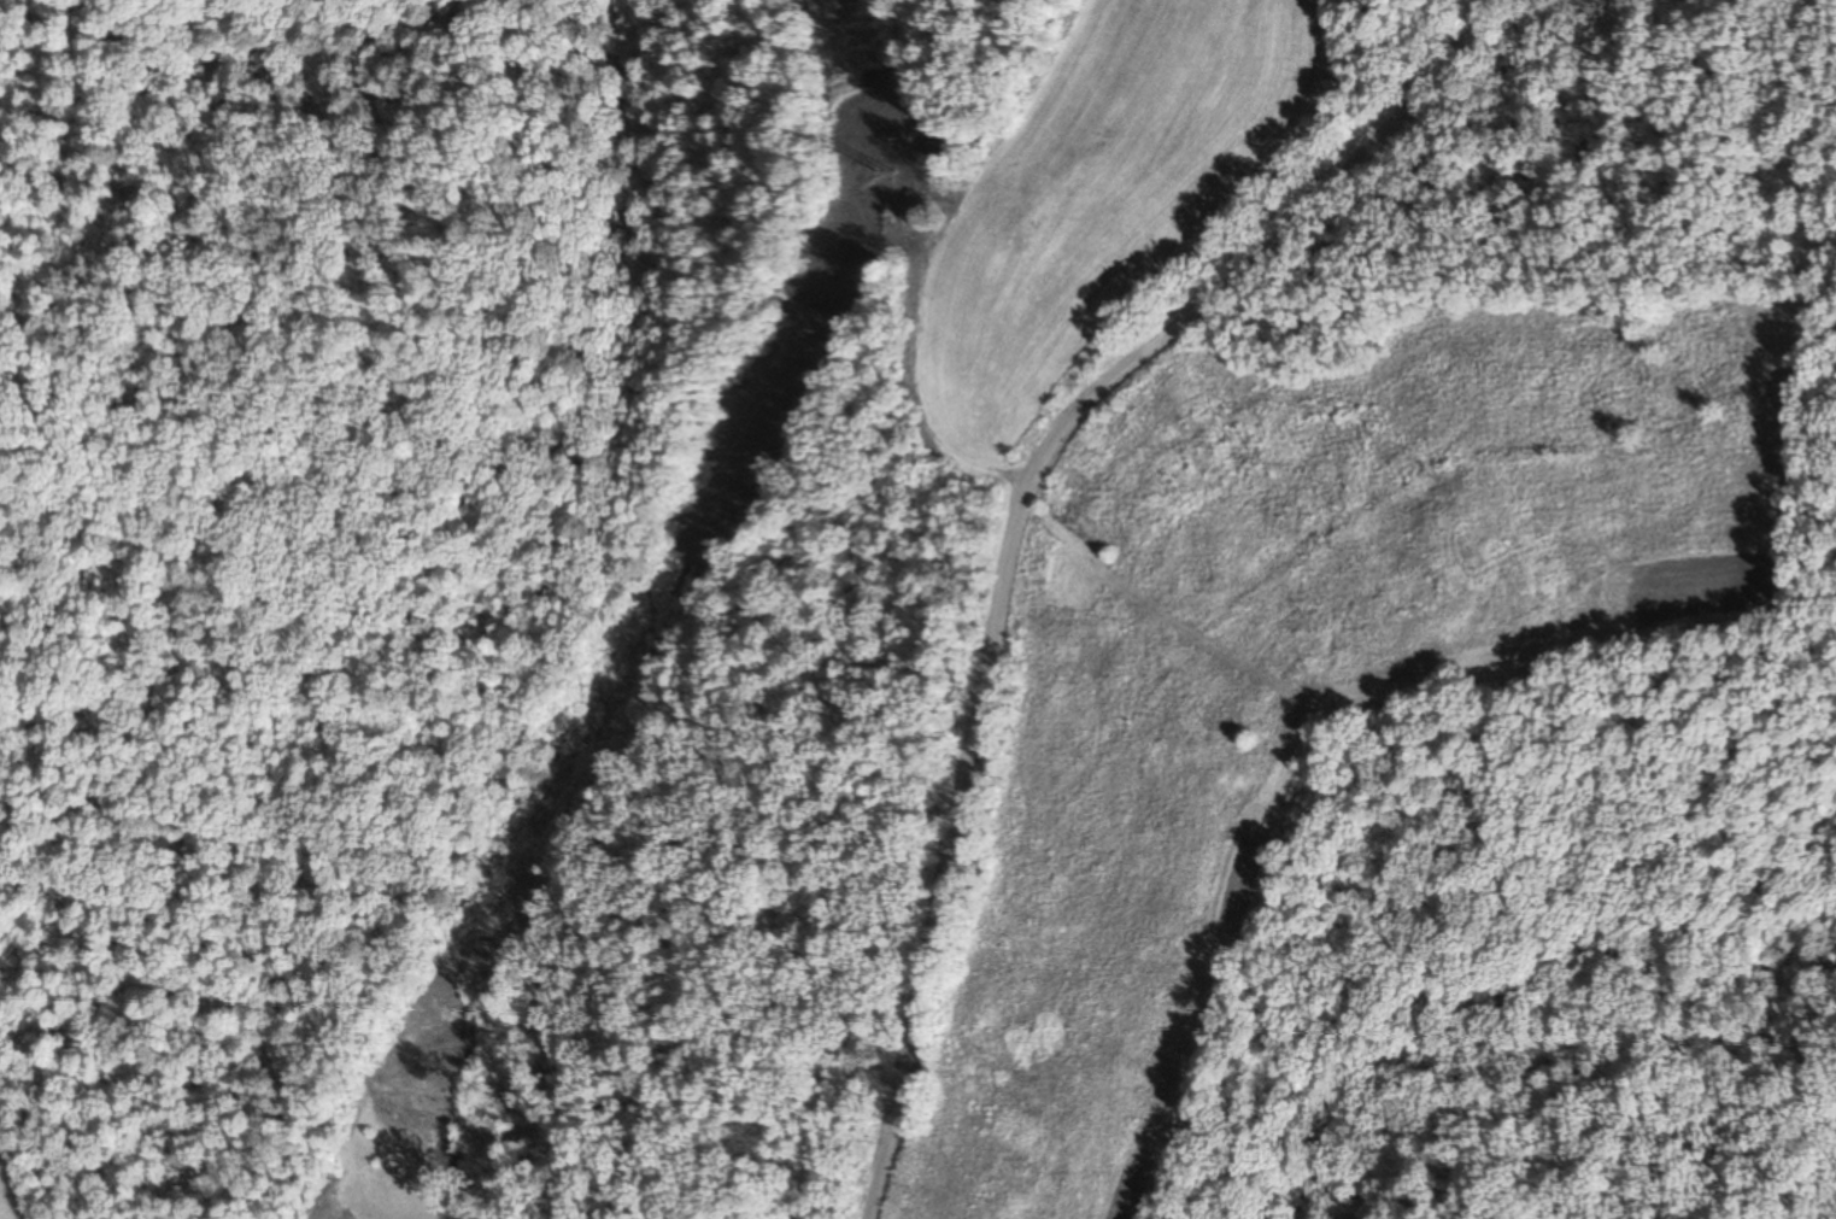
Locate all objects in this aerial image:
power tower: (894, 172)
road: (1055, 550)

